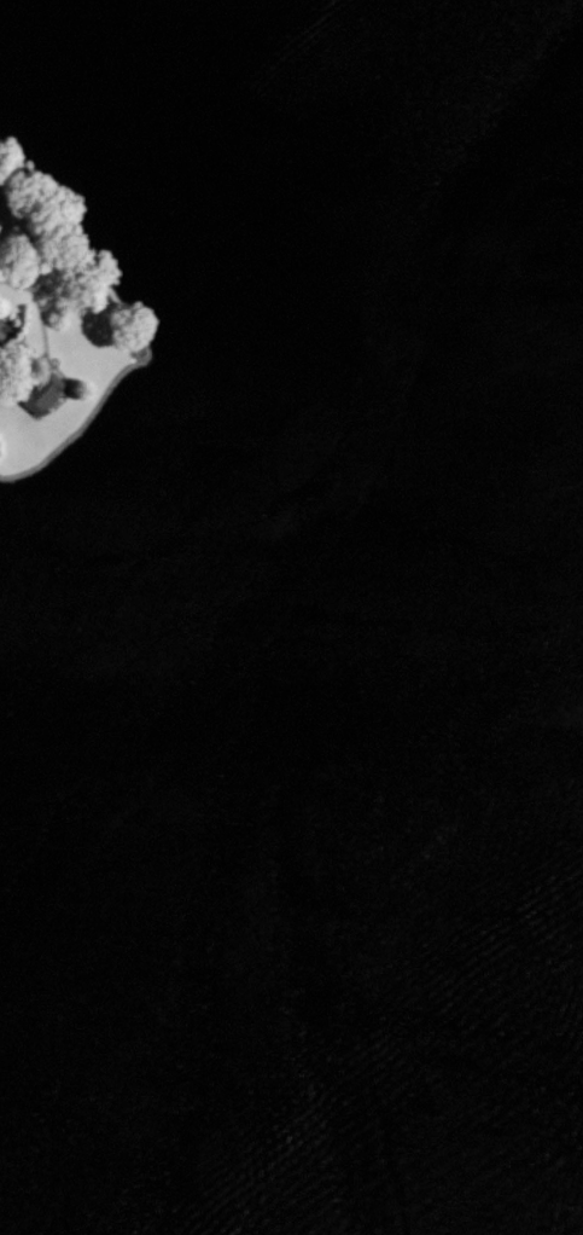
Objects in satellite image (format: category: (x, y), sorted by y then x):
road: (4, 215)
road: (4, 228)
road: (40, 262)
building: (1, 343)
building: (41, 392)

